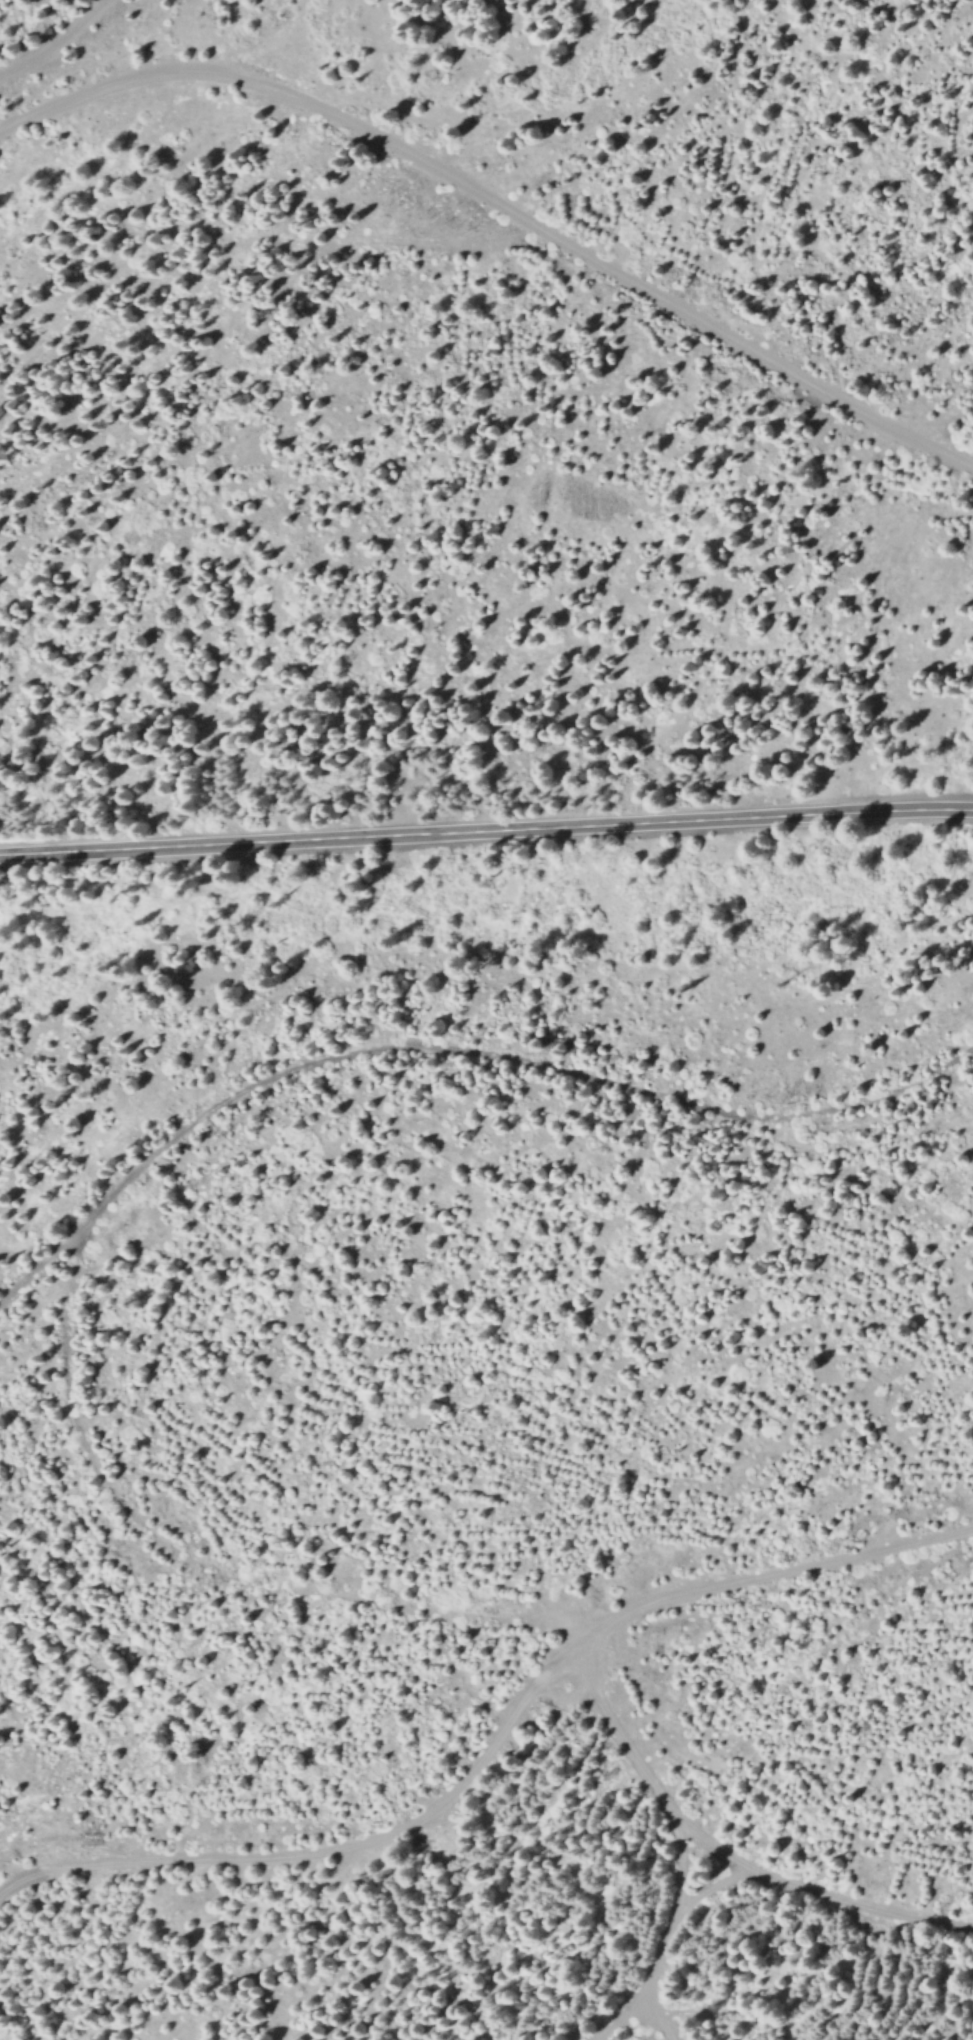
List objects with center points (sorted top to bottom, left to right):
road: (50, 40)
road: (442, 172)
road: (918, 436)
road: (486, 827)
road: (451, 1044)
road: (800, 1572)
road: (602, 1636)
road: (522, 1715)
road: (666, 1931)
road: (653, 2016)

